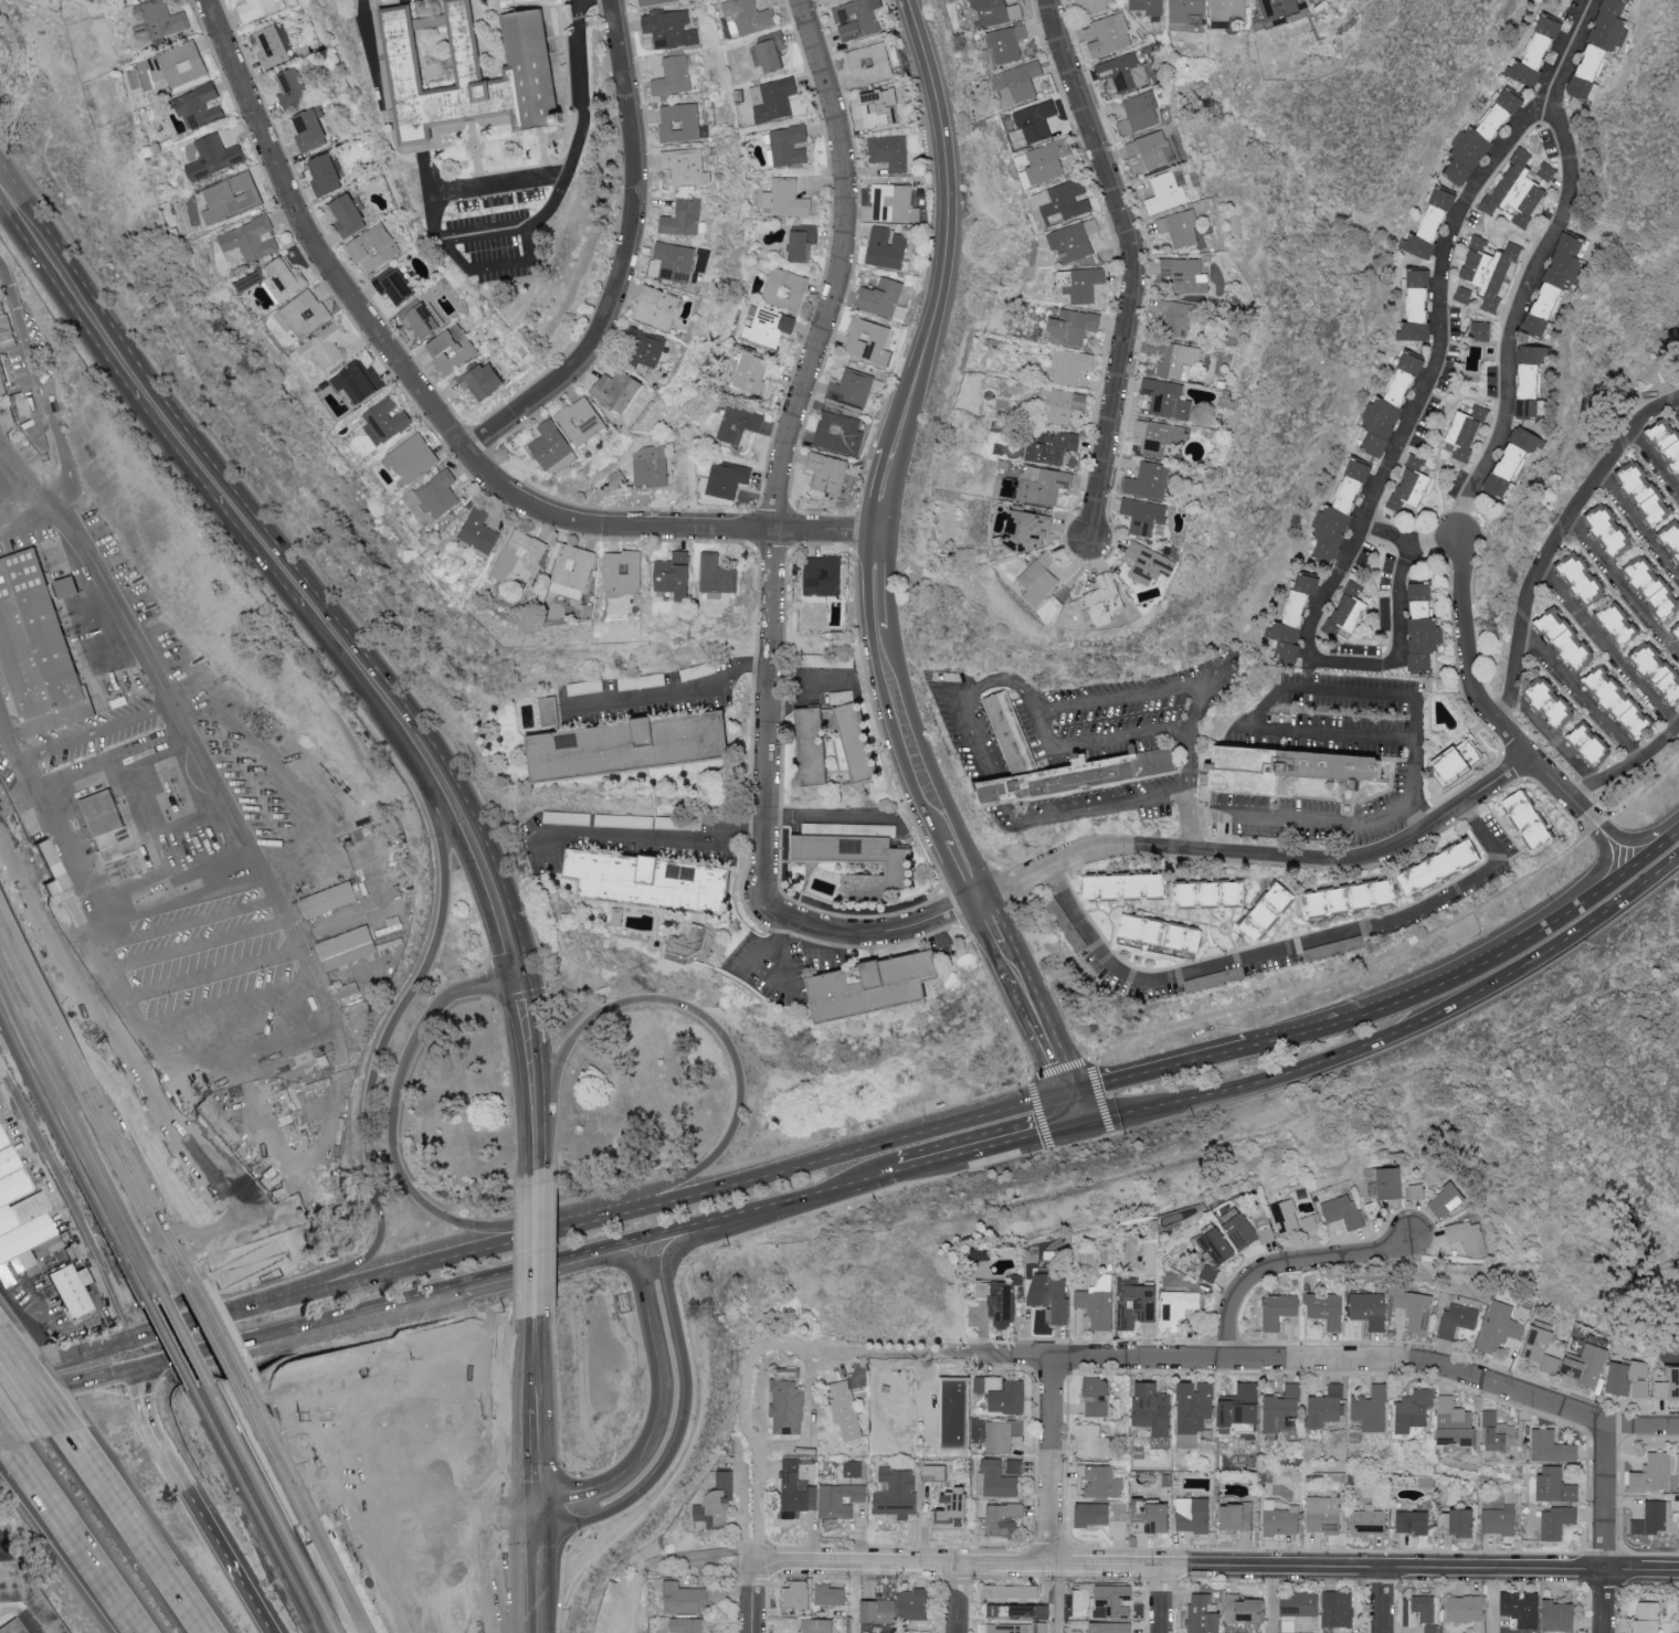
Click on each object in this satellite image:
road: (581, 0)
building: (658, 2)
building: (1092, 6)
building: (1148, 7)
building: (258, 8)
building: (1227, 9)
building: (1184, 10)
building: (1278, 11)
building: (997, 12)
building: (747, 17)
building: (161, 18)
building: (856, 19)
building: (673, 29)
building: (1110, 35)
building: (1009, 43)
building: (1602, 43)
building: (272, 46)
road: (379, 51)
building: (770, 52)
building: (1535, 53)
building: (182, 63)
building: (870, 63)
building: (1123, 72)
building: (473, 74)
building: (675, 76)
building: (1021, 82)
building: (293, 88)
building: (773, 99)
building: (199, 106)
building: (883, 109)
building: (1140, 113)
building: (1037, 120)
building: (680, 123)
building: (1481, 137)
building: (789, 146)
building: (1152, 149)
building: (889, 152)
building: (213, 156)
building: (1047, 162)
building: (684, 165)
building: (1546, 171)
building: (326, 174)
building: (1518, 191)
building: (1165, 193)
building: (231, 197)
building: (785, 199)
building: (1063, 202)
building: (894, 203)
road: (950, 209)
building: (350, 215)
building: (683, 218)
building: (1430, 224)
building: (1180, 227)
road: (515, 230)
road: (313, 237)
building: (251, 238)
building: (1075, 240)
building: (803, 243)
building: (887, 247)
building: (374, 248)
road: (626, 259)
building: (676, 262)
road: (1132, 265)
road: (1531, 265)
road: (495, 266)
building: (1489, 269)
building: (1185, 275)
building: (284, 279)
building: (1557, 280)
building: (1081, 283)
building: (394, 285)
building: (784, 288)
building: (1464, 295)
building: (881, 297)
building: (1, 308)
building: (658, 308)
building: (1417, 308)
building: (303, 315)
building: (1176, 316)
building: (423, 319)
building: (769, 327)
building: (1074, 327)
building: (1481, 331)
building: (6, 333)
building: (868, 341)
parking lot: (36, 347)
building: (325, 347)
building: (644, 348)
building: (453, 349)
building: (1173, 358)
parking lot: (18, 364)
building: (1070, 365)
building: (4, 370)
building: (754, 372)
building: (1531, 379)
building: (482, 380)
building: (359, 383)
building: (852, 388)
building: (619, 390)
road: (40, 395)
building: (1166, 399)
building: (1392, 404)
building: (1062, 405)
building: (19, 406)
road: (1676, 406)
building: (387, 420)
building: (582, 421)
road: (81, 422)
building: (739, 424)
road: (893, 430)
building: (1466, 433)
building: (839, 434)
building: (1158, 435)
building: (1670, 439)
building: (1054, 447)
building: (553, 448)
road: (194, 456)
road: (782, 457)
building: (411, 458)
building: (1512, 460)
building: (651, 465)
road: (1655, 466)
road: (6, 471)
building: (828, 473)
road: (899, 476)
building: (727, 479)
building: (1148, 480)
building: (1043, 485)
building: (1411, 486)
road: (873, 489)
road: (1375, 491)
building: (439, 492)
building: (1647, 492)
road: (9, 505)
building: (1340, 512)
building: (1143, 516)
road: (653, 526)
building: (1028, 528)
road: (1638, 529)
building: (479, 530)
building: (1612, 530)
road: (1386, 531)
road: (878, 534)
building: (1671, 538)
road: (1552, 541)
building: (519, 556)
building: (1149, 563)
building: (572, 570)
building: (622, 573)
building: (717, 574)
building: (674, 575)
building: (823, 576)
building: (1039, 579)
building: (1584, 579)
road: (889, 582)
building: (1655, 586)
building: (68, 587)
road: (1622, 590)
parking lot: (140, 596)
building: (1105, 600)
building: (1348, 613)
building: (1293, 618)
building: (1620, 624)
building: (1424, 630)
building: (1677, 630)
building: (1567, 639)
building: (36, 647)
road: (1608, 649)
road: (754, 667)
building: (1658, 670)
road: (804, 681)
road: (881, 690)
road: (670, 691)
road: (1115, 697)
road: (1576, 698)
road: (1414, 700)
building: (1552, 702)
building: (1622, 702)
road: (962, 708)
road: (1486, 708)
road: (175, 711)
building: (548, 711)
building: (1011, 732)
road: (94, 733)
road: (1186, 735)
building: (859, 743)
building: (1592, 744)
parking lot: (99, 745)
building: (632, 746)
building: (814, 747)
building: (1457, 763)
road: (931, 766)
road: (1626, 767)
building: (1289, 771)
building: (1084, 777)
parking lot: (252, 789)
building: (103, 814)
road: (822, 817)
road: (1413, 821)
building: (1530, 821)
road: (1678, 825)
road: (645, 833)
road: (1221, 837)
road: (1643, 837)
road: (1187, 838)
parking lot: (192, 842)
road: (476, 846)
road: (1164, 850)
building: (1442, 867)
road: (1626, 867)
building: (52, 868)
building: (901, 869)
road: (952, 873)
road: (1593, 874)
building: (653, 882)
building: (1126, 887)
building: (1210, 893)
building: (344, 894)
building: (1351, 899)
road: (177, 909)
building: (1268, 912)
road: (186, 924)
building: (1161, 934)
building: (688, 944)
road: (767, 945)
road: (198, 946)
building: (347, 947)
road: (1285, 952)
road: (783, 961)
parking lot: (208, 962)
road: (212, 973)
traffic signals: (520, 983)
building: (876, 986)
road: (485, 987)
building: (342, 988)
road: (1417, 992)
road: (1025, 998)
road: (226, 1005)
road: (399, 1016)
road: (1398, 1026)
railway: (7, 1028)
road: (718, 1035)
road: (530, 1049)
road: (1160, 1073)
road: (1, 1088)
railway: (93, 1094)
traffic signals: (1073, 1096)
railway: (87, 1109)
road: (1078, 1111)
traffic signals: (1084, 1126)
road: (1055, 1133)
railway: (80, 1139)
railway: (117, 1152)
road: (535, 1152)
railway: (117, 1153)
road: (843, 1157)
road: (962, 1157)
road: (706, 1166)
railway: (78, 1171)
road: (398, 1175)
building: (1390, 1183)
road: (634, 1188)
road: (824, 1195)
building: (1447, 1201)
road: (66, 1210)
building: (1343, 1211)
building: (22, 1215)
building: (1292, 1219)
road: (593, 1223)
road: (456, 1226)
building: (1250, 1230)
road: (676, 1234)
building: (1468, 1237)
road: (420, 1245)
building: (1218, 1245)
road: (377, 1247)
road: (534, 1251)
road: (694, 1259)
road: (448, 1260)
road: (694, 1262)
road: (1290, 1264)
road: (655, 1265)
road: (632, 1268)
road: (218, 1271)
road: (602, 1273)
building: (1210, 1273)
road: (617, 1276)
road: (272, 1289)
building: (73, 1291)
building: (1053, 1297)
road: (46, 1303)
building: (1136, 1303)
building: (1326, 1306)
building: (1097, 1307)
building: (1179, 1307)
building: (1279, 1309)
building: (1370, 1309)
building: (1416, 1311)
road: (372, 1312)
road: (32, 1313)
road: (229, 1316)
building: (1458, 1319)
road: (442, 1323)
road: (28, 1324)
road: (53, 1324)
road: (224, 1326)
road: (129, 1327)
building: (1500, 1327)
railway: (215, 1328)
railway: (205, 1333)
road: (86, 1339)
railway: (186, 1340)
railway: (168, 1345)
road: (452, 1348)
building: (1541, 1348)
road: (27, 1354)
road: (66, 1358)
road: (532, 1360)
road: (1258, 1360)
building: (1587, 1366)
traffic signals: (144, 1368)
building: (786, 1372)
building: (1629, 1378)
road: (71, 1385)
building: (1669, 1386)
road: (494, 1387)
road: (32, 1391)
road: (146, 1391)
road: (684, 1393)
building: (1097, 1397)
parking lot: (401, 1398)
building: (1010, 1398)
road: (432, 1399)
road: (63, 1401)
building: (1242, 1406)
building: (788, 1407)
building: (1327, 1407)
building: (1154, 1408)
building: (1282, 1408)
building: (845, 1409)
building: (1372, 1409)
building: (1414, 1409)
building: (1195, 1412)
building: (949, 1417)
building: (1456, 1423)
road: (750, 1424)
road: (339, 1431)
building: (1498, 1432)
building: (1003, 1435)
road: (318, 1441)
road: (656, 1442)
building: (1091, 1442)
building: (1552, 1446)
road: (161, 1448)
road: (368, 1449)
road: (532, 1460)
road: (1050, 1463)
building: (1015, 1466)
building: (854, 1468)
road: (568, 1471)
road: (575, 1472)
building: (1657, 1472)
road: (397, 1474)
road: (536, 1477)
building: (997, 1480)
road: (347, 1482)
road: (503, 1482)
building: (1104, 1482)
building: (1556, 1485)
building: (795, 1491)
road: (379, 1492)
building: (897, 1493)
road: (495, 1494)
building: (841, 1499)
road: (326, 1502)
railway: (250, 1503)
road: (315, 1503)
building: (718, 1503)
railway: (306, 1505)
road: (578, 1507)
railway: (271, 1508)
railway: (296, 1508)
railway: (323, 1514)
building: (1092, 1514)
building: (1193, 1514)
building: (1323, 1514)
road: (463, 1516)
building: (1153, 1516)
building: (1281, 1517)
road: (495, 1518)
traffic signals: (532, 1518)
building: (1656, 1518)
road: (316, 1519)
building: (1004, 1519)
building: (1446, 1520)
building: (1499, 1520)
building: (1370, 1521)
building: (1415, 1521)
building: (1465, 1521)
building: (1557, 1521)
railway: (298, 1525)
building: (1244, 1525)
building: (1118, 1527)
road: (1607, 1530)
road: (134, 1536)
road: (580, 1539)
road: (405, 1540)
building: (336, 1542)
road: (406, 1544)
road: (64, 1545)
road: (495, 1545)
road: (536, 1546)
road: (499, 1547)
road: (572, 1548)
road: (494, 1551)
road: (378, 1559)
road: (334, 1567)
road: (1140, 1568)
road: (406, 1569)
road: (478, 1569)
road: (383, 1573)
road: (1643, 1573)
road: (239, 1576)
road: (532, 1576)
road: (414, 1584)
parking lot: (455, 1586)
road: (402, 1587)
building: (796, 1594)
building: (831, 1594)
building: (25, 1595)
building: (686, 1598)
building: (1009, 1598)
road: (737, 1599)
road: (751, 1599)
road: (858, 1599)
road: (422, 1600)
road: (434, 1600)
road: (962, 1600)
road: (1064, 1600)
road: (1161, 1600)
building: (1113, 1601)
road: (1274, 1601)
road: (1386, 1601)
road: (1491, 1602)
building: (1300, 1603)
building: (912, 1604)
building: (1425, 1608)
building: (1466, 1608)
building: (1523, 1608)
building: (1339, 1609)
building: (1245, 1610)
building: (879, 1611)
building: (1204, 1614)
building: (1560, 1615)
building: (1647, 1616)
building: (374, 1618)
building: (346, 1624)
railway: (315, 1625)
building: (691, 1625)
building: (817, 1625)
road: (436, 1627)
building: (1017, 1627)
building: (1111, 1627)
building: (13, 1629)
building: (1430, 1629)

